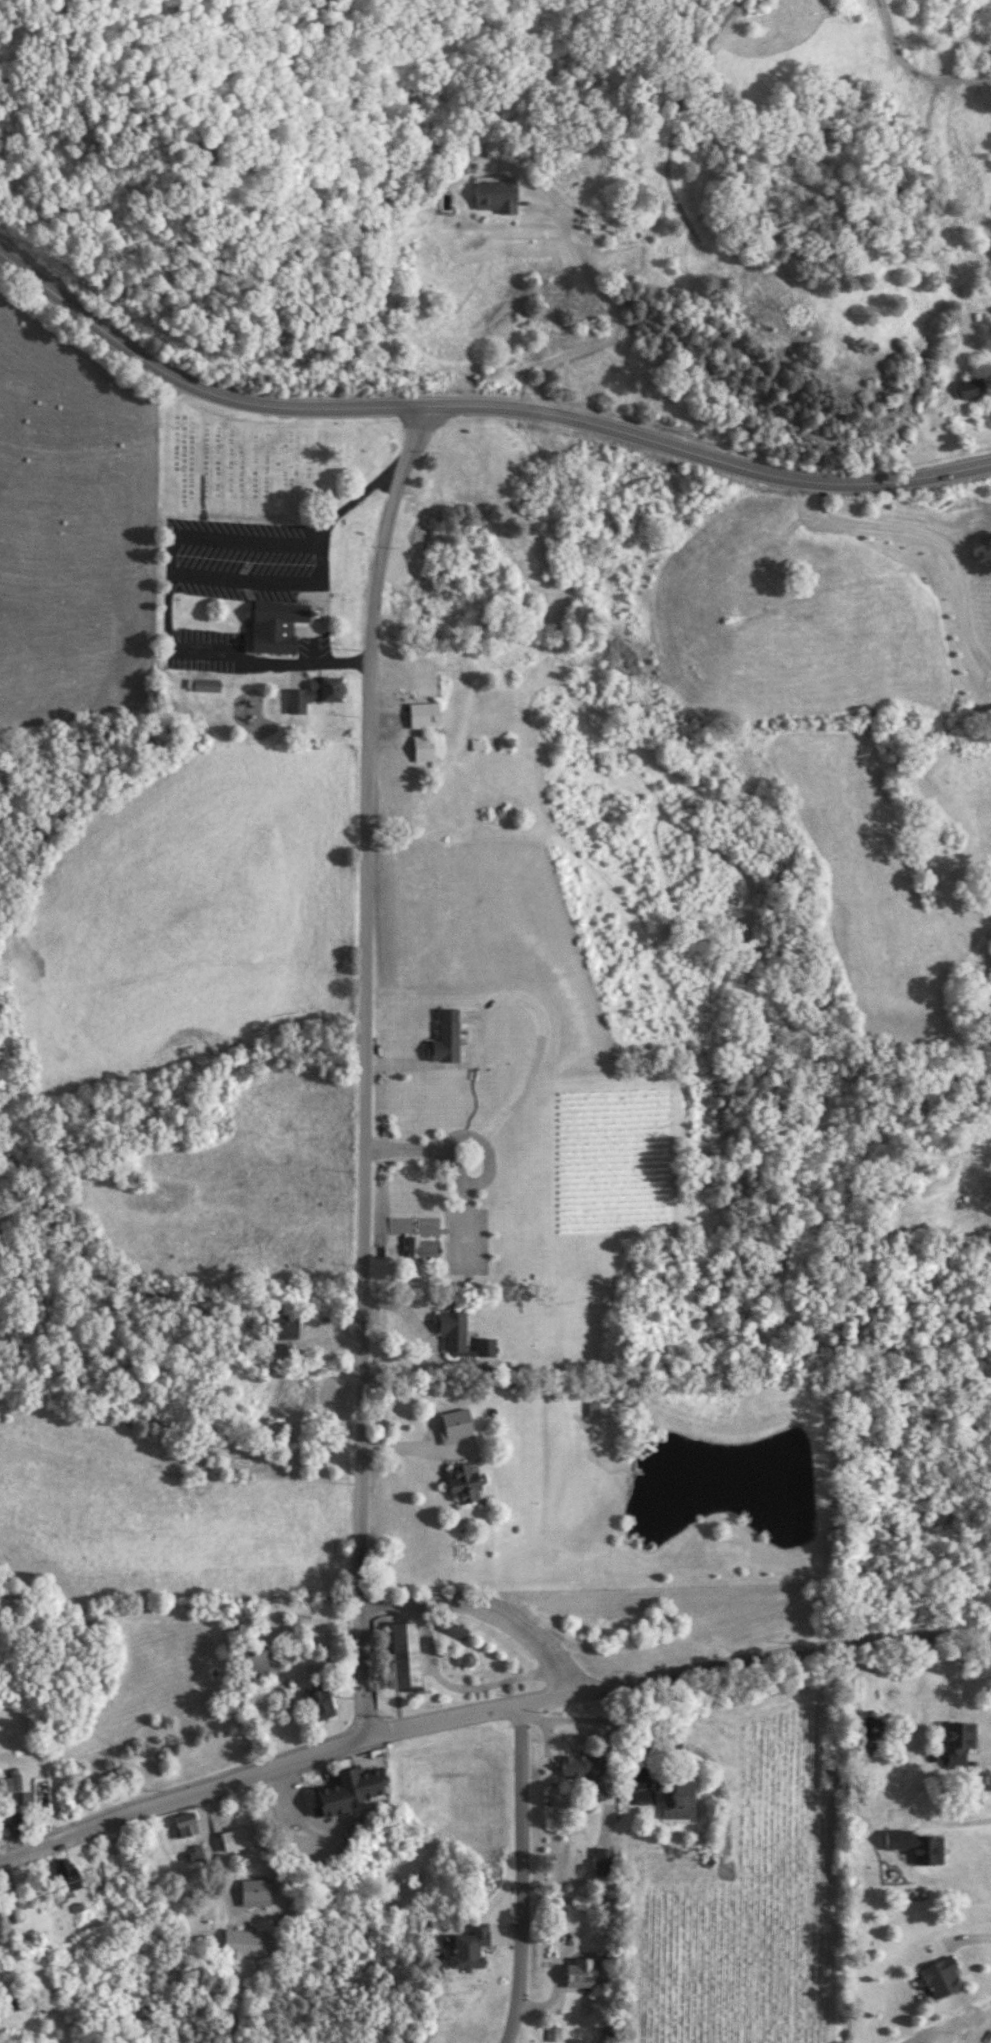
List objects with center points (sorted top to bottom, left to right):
building: (494, 193)
road: (611, 325)
road: (193, 386)
building: (970, 387)
road: (708, 455)
road: (355, 498)
road: (933, 535)
road: (177, 571)
building: (276, 627)
road: (230, 657)
building: (205, 685)
building: (313, 694)
building: (423, 714)
building: (425, 747)
building: (397, 797)
road: (539, 1034)
building: (445, 1036)
road: (362, 1066)
building: (421, 1247)
building: (282, 1327)
building: (452, 1330)
building: (597, 1405)
road: (401, 1445)
building: (464, 1483)
road: (480, 1611)
building: (455, 1629)
building: (403, 1654)
building: (463, 1657)
building: (252, 1662)
road: (676, 1675)
building: (317, 1703)
building: (958, 1741)
building: (584, 1770)
building: (348, 1788)
road: (180, 1796)
building: (676, 1801)
building: (11, 1824)
building: (186, 1826)
road: (939, 1827)
building: (238, 1838)
road: (211, 1842)
road: (842, 1843)
building: (919, 1846)
building: (603, 1861)
building: (64, 1874)
road: (516, 1874)
building: (254, 1891)
building: (243, 1942)
building: (468, 1946)
building: (579, 1971)
building: (942, 1976)
road: (982, 2030)

